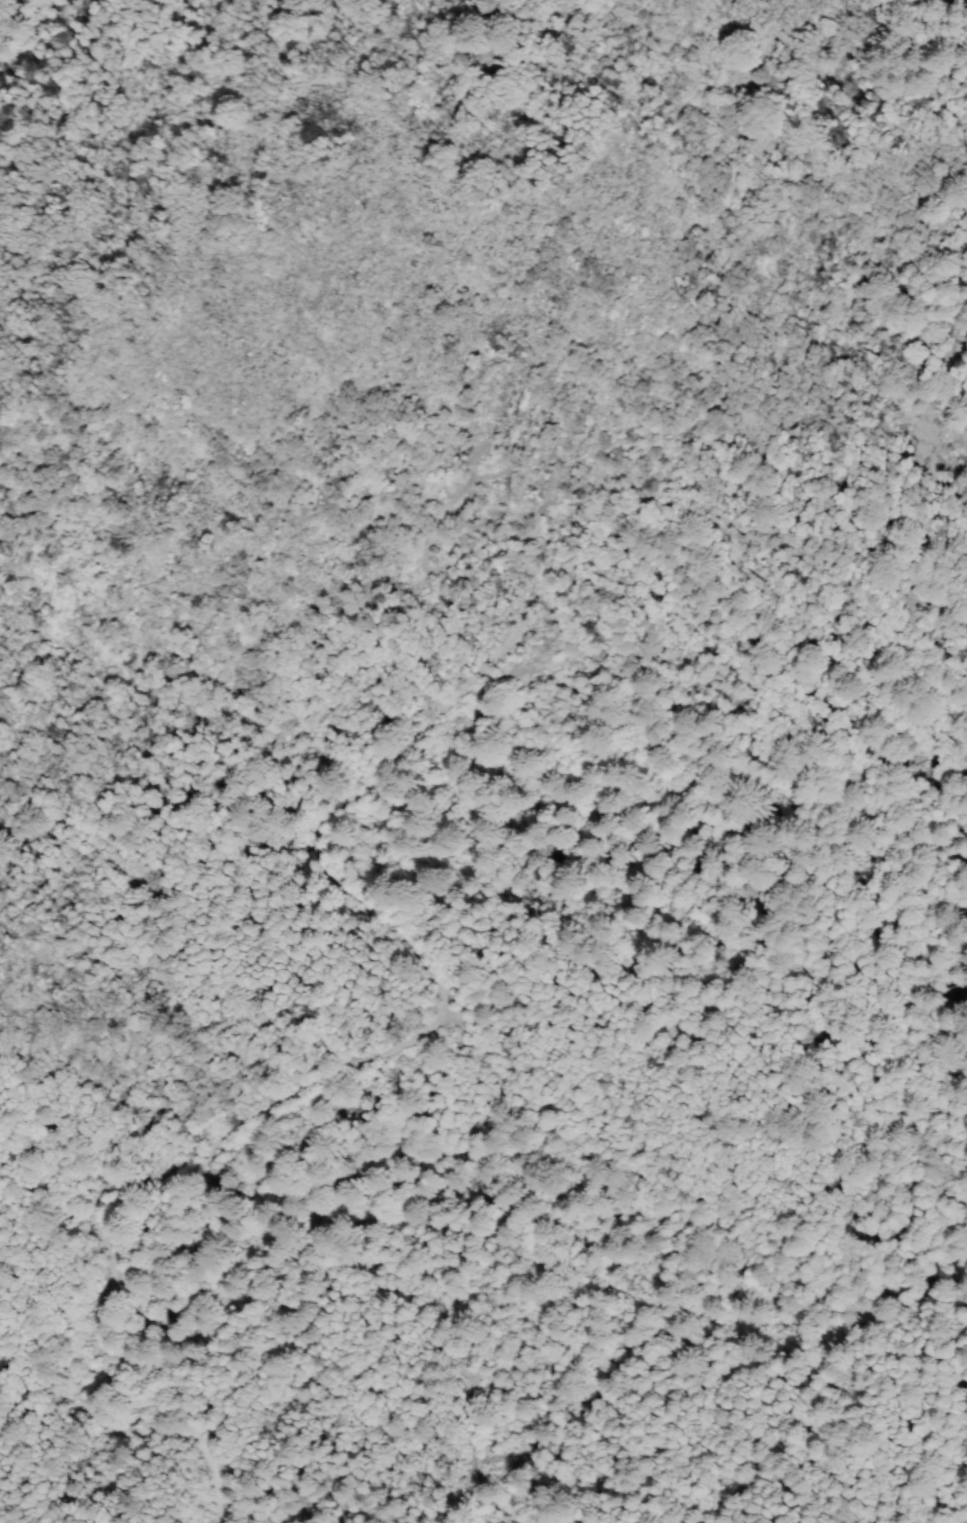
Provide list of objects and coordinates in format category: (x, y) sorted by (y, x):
road: (212, 1455)

